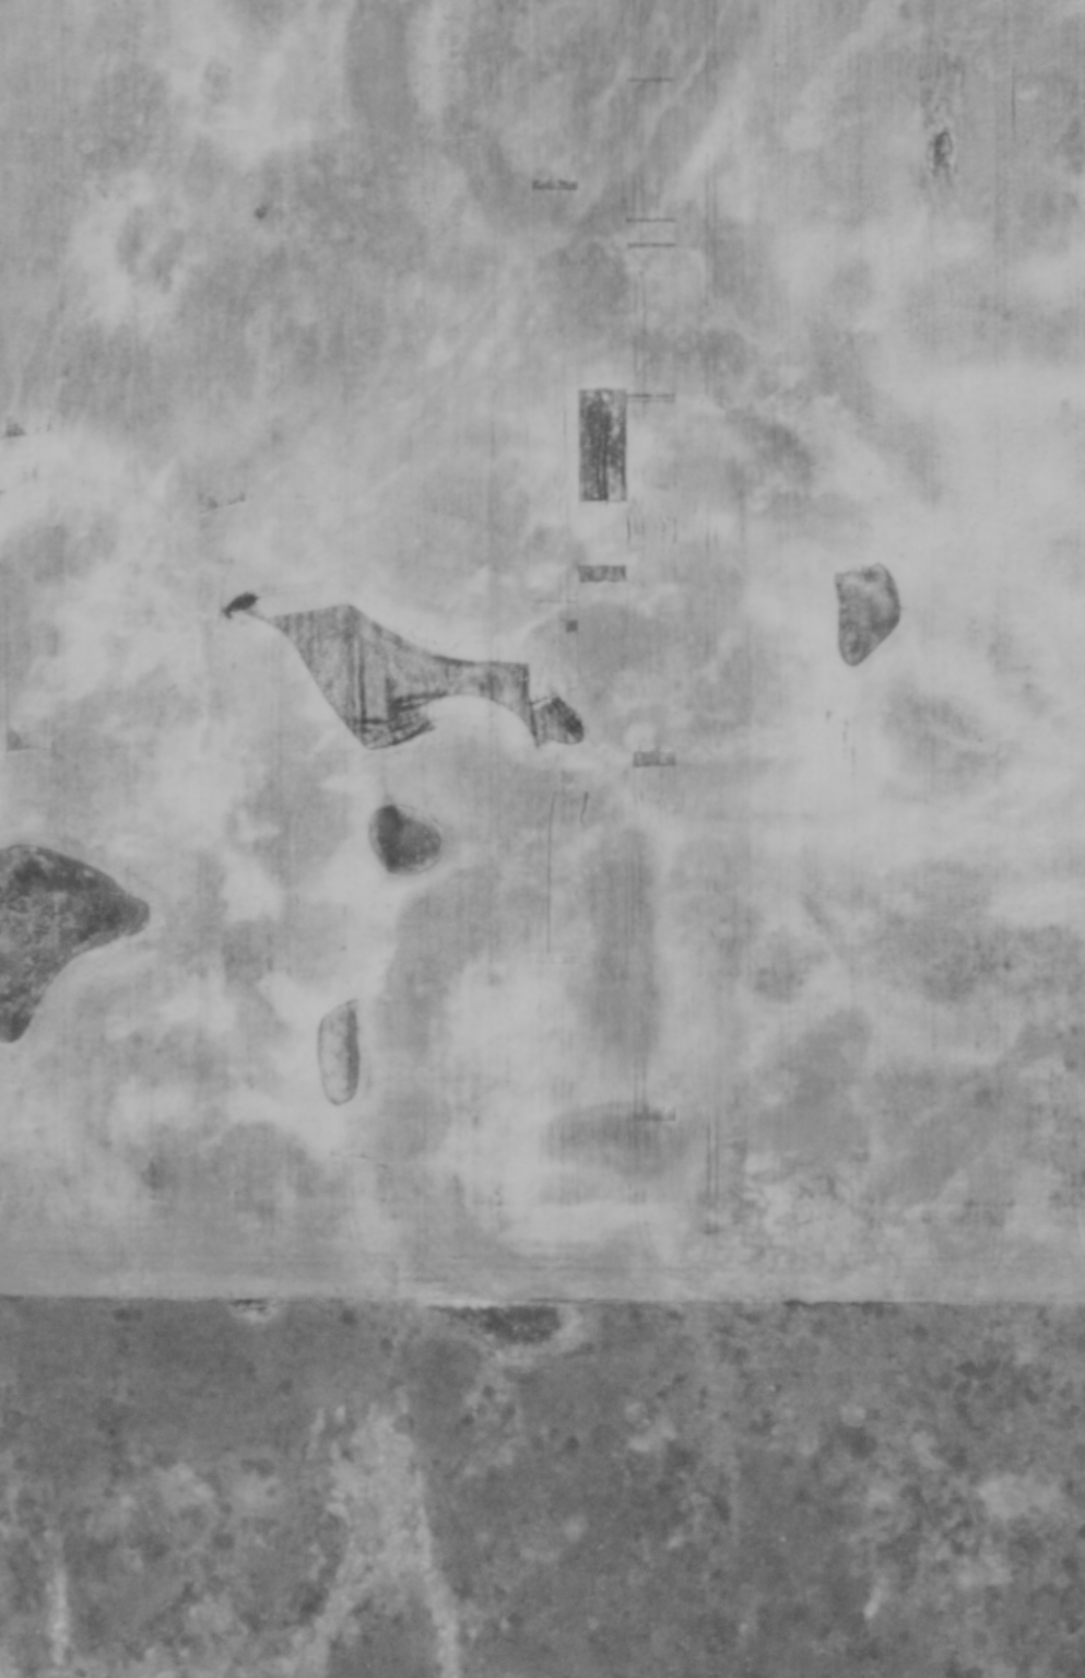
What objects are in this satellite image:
building: (1078, 406)

